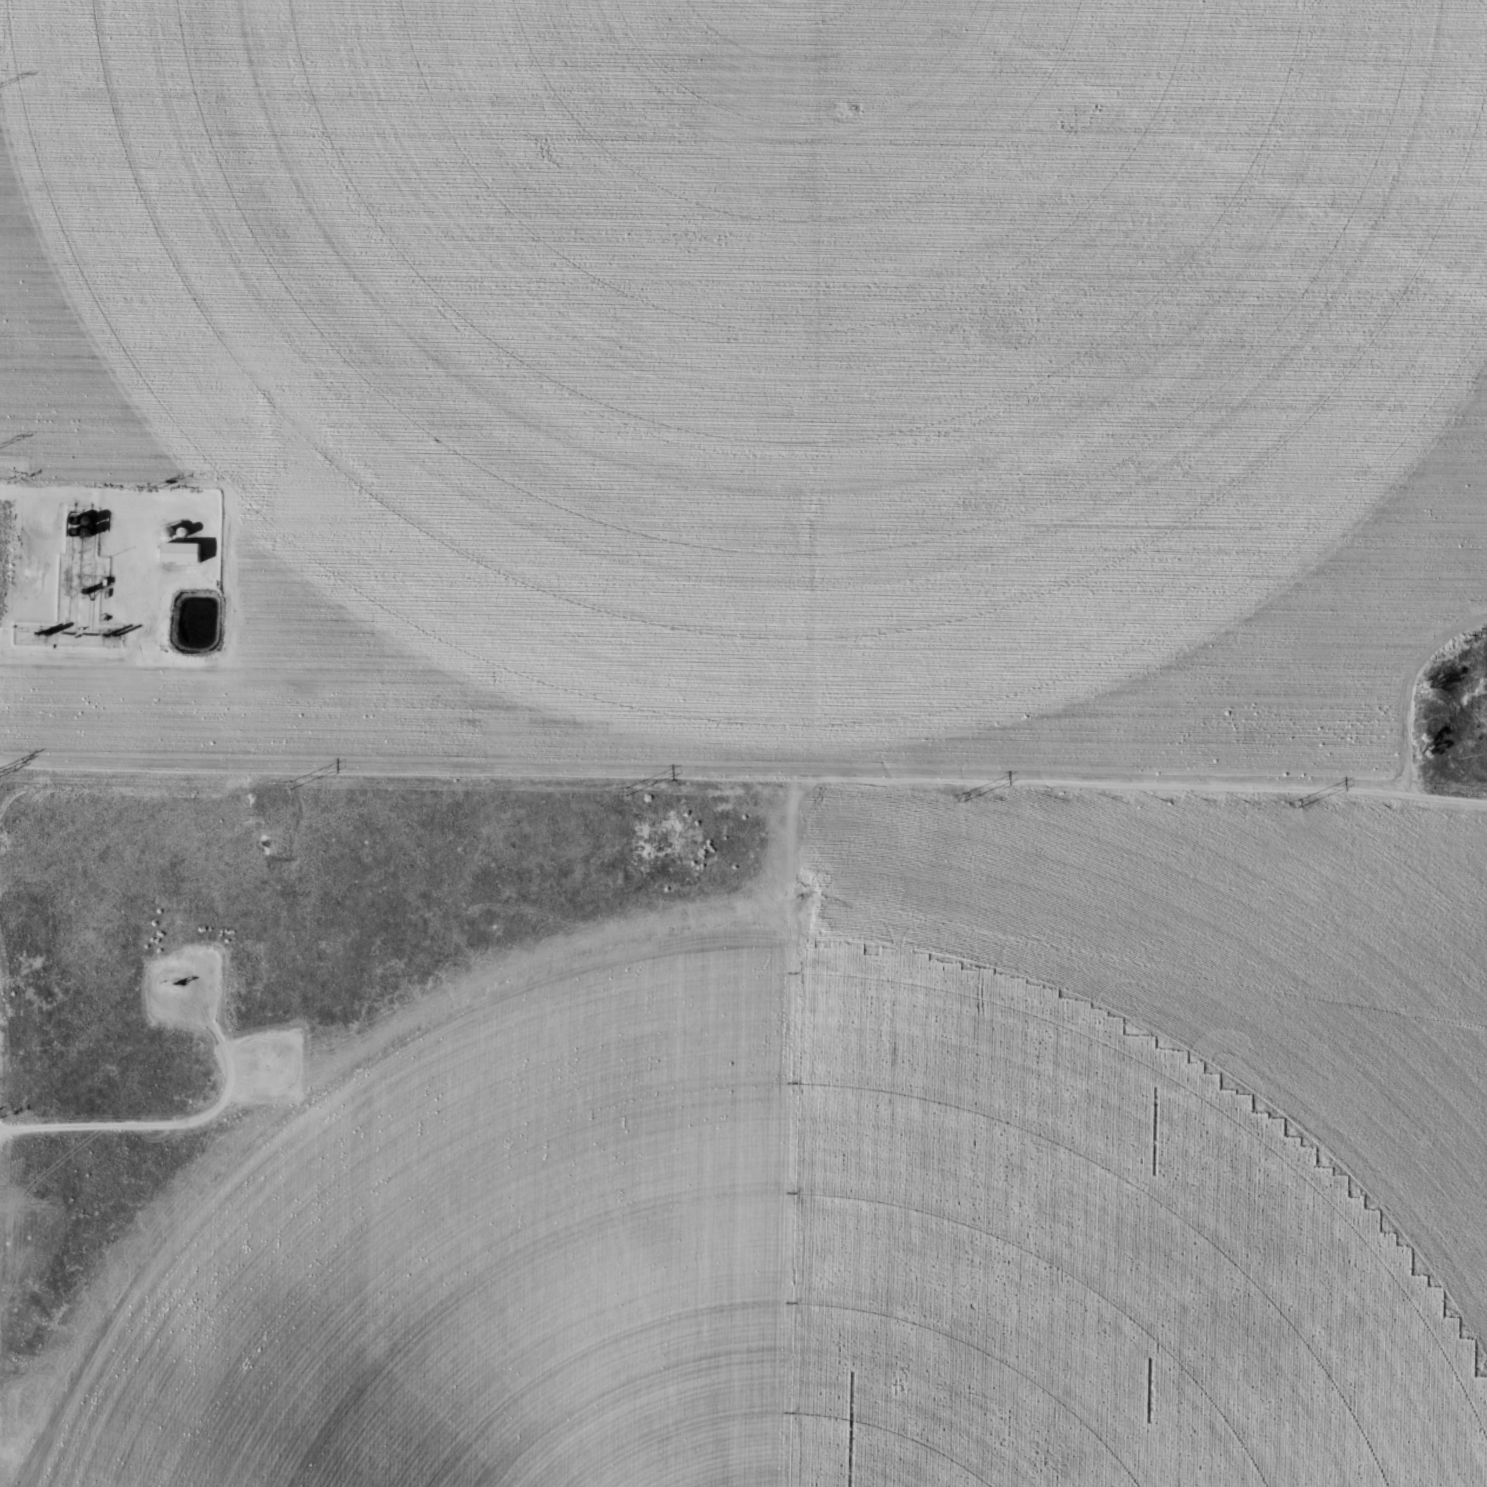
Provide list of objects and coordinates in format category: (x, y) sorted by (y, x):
road: (743, 787)
petroleum well: (177, 983)

